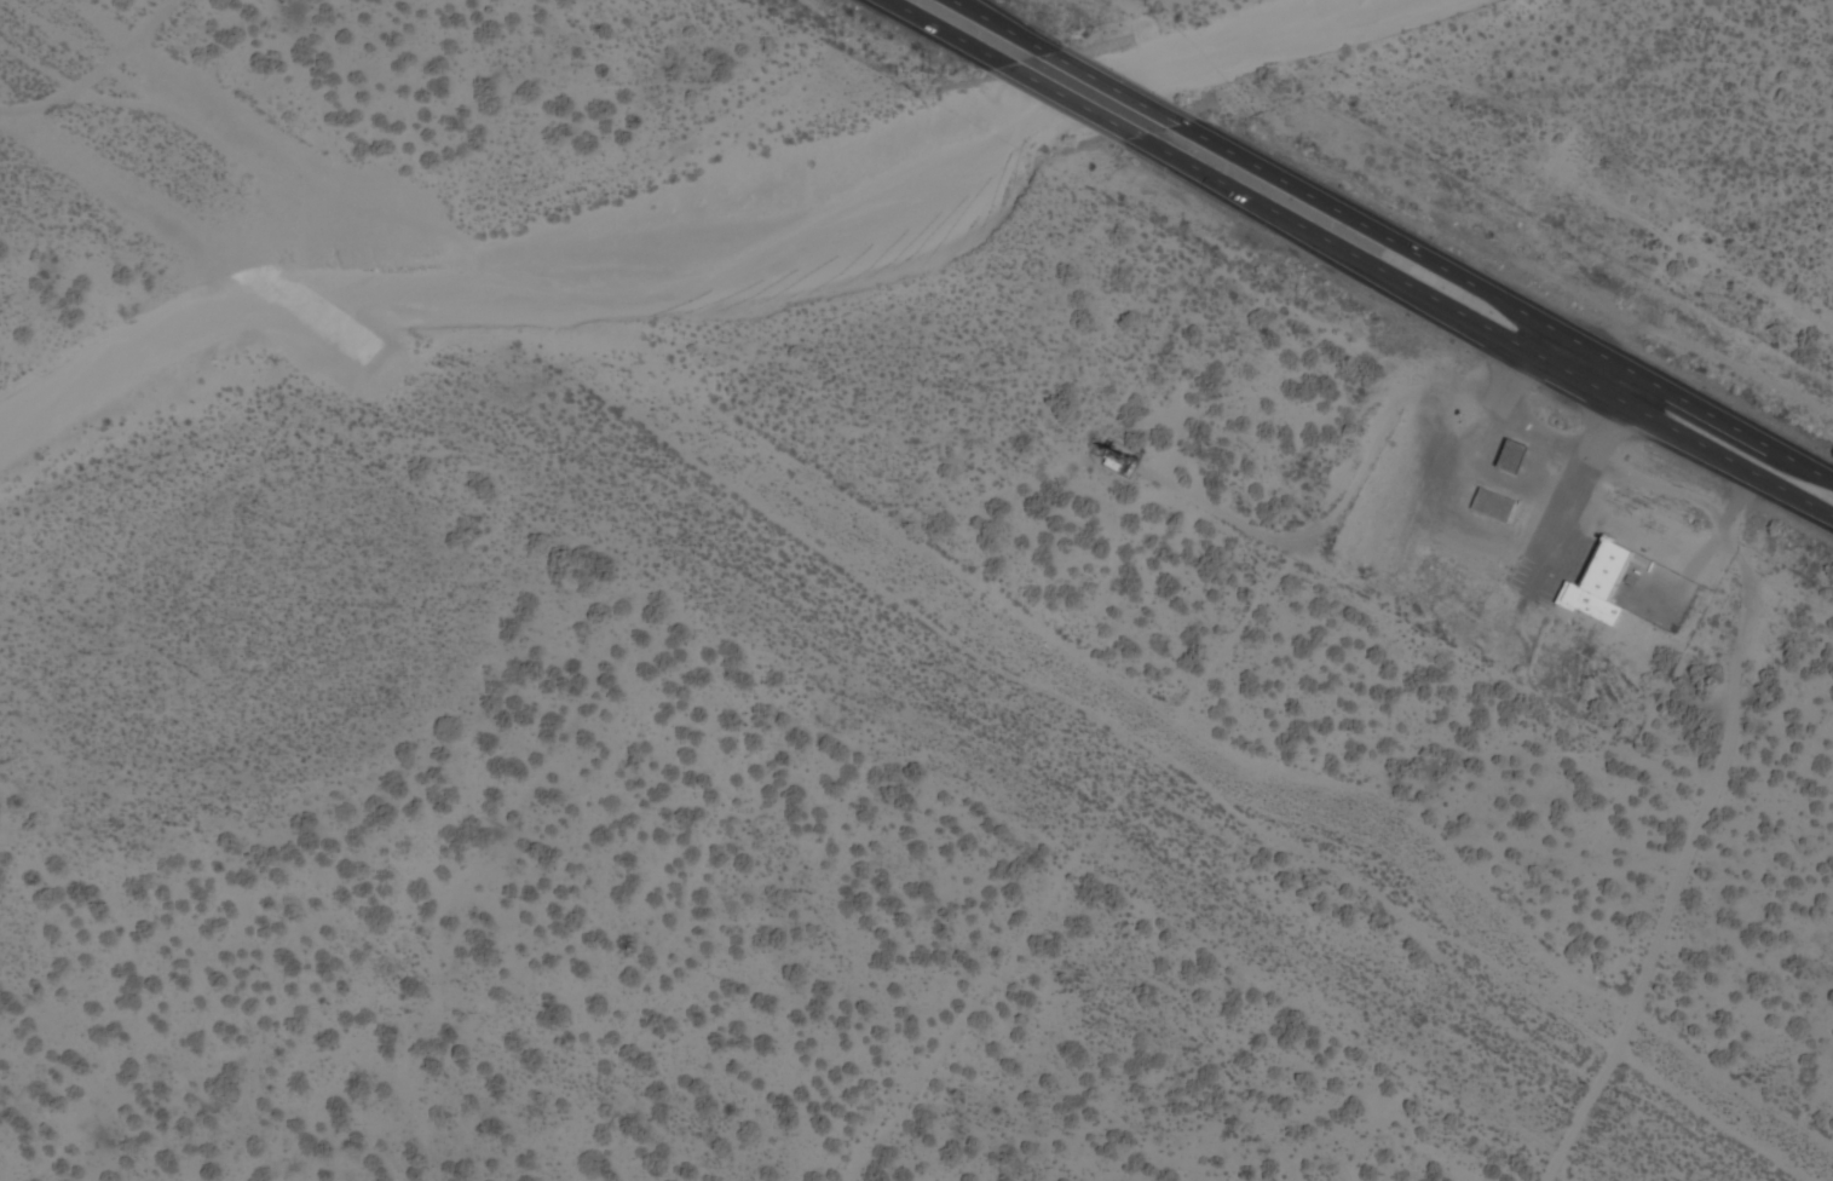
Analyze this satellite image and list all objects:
road: (992, 22)
road: (944, 30)
road: (1118, 91)
road: (1078, 104)
road: (1517, 311)
road: (1493, 333)
road: (1540, 437)
building: (1500, 449)
building: (1125, 453)
building: (1517, 457)
road: (1517, 488)
building: (1483, 500)
road: (1492, 540)
road: (1694, 833)

